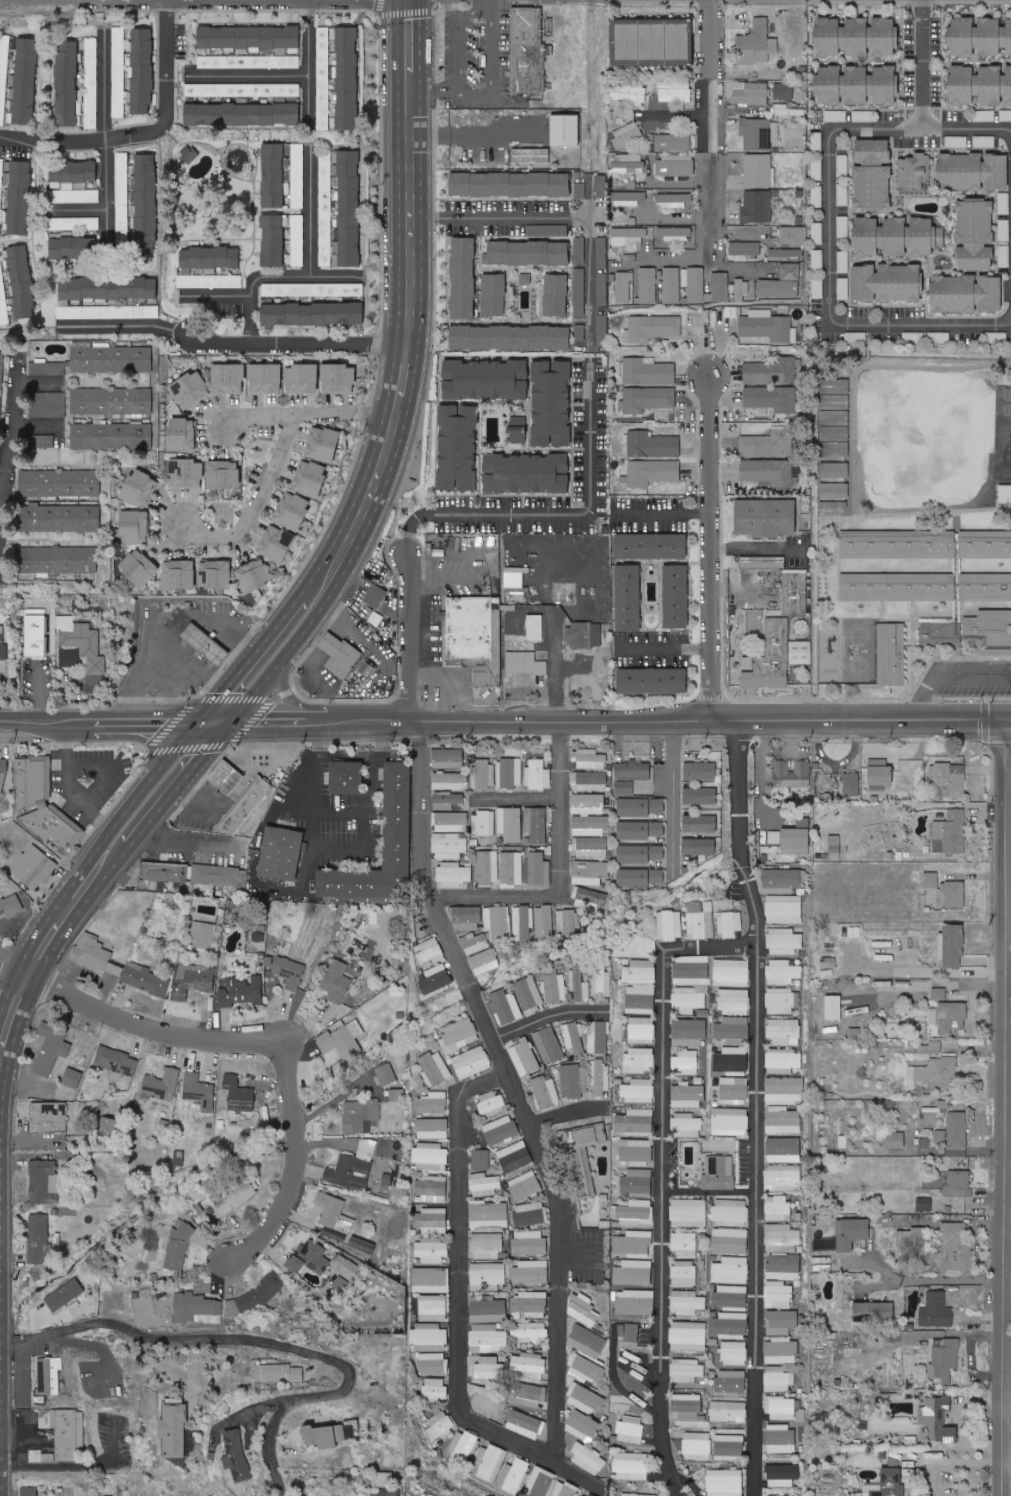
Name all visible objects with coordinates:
road: (81, 1)
road: (114, 2)
building: (856, 35)
building: (118, 36)
building: (249, 36)
building: (979, 36)
road: (460, 40)
building: (655, 40)
building: (680, 40)
building: (627, 42)
building: (757, 43)
road: (412, 48)
building: (526, 53)
road: (313, 57)
parking lot: (475, 60)
building: (248, 61)
road: (923, 63)
building: (142, 70)
road: (255, 75)
building: (3, 77)
building: (348, 77)
building: (323, 78)
building: (25, 80)
building: (66, 82)
building: (829, 83)
building: (871, 84)
building: (976, 84)
building: (1008, 84)
road: (491, 87)
building: (241, 89)
building: (784, 91)
building: (629, 92)
building: (676, 92)
building: (751, 92)
building: (243, 114)
building: (836, 115)
road: (711, 125)
road: (109, 126)
road: (967, 126)
building: (565, 129)
road: (144, 131)
building: (759, 133)
road: (478, 134)
building: (626, 136)
building: (816, 141)
building: (673, 142)
building: (530, 154)
building: (628, 163)
building: (675, 165)
building: (817, 169)
building: (759, 170)
building: (913, 170)
building: (962, 170)
building: (997, 171)
building: (7, 172)
building: (873, 174)
building: (273, 175)
building: (297, 175)
building: (1, 183)
building: (511, 184)
building: (581, 190)
road: (592, 195)
building: (75, 196)
building: (20, 197)
building: (628, 199)
building: (674, 200)
building: (1003, 203)
building: (757, 206)
building: (325, 208)
building: (349, 208)
building: (147, 209)
road: (315, 209)
road: (569, 215)
road: (674, 215)
building: (75, 223)
building: (547, 230)
building: (675, 233)
building: (975, 234)
building: (628, 236)
building: (793, 236)
building: (881, 236)
building: (925, 236)
building: (273, 239)
building: (297, 240)
building: (73, 247)
building: (745, 248)
building: (578, 250)
building: (528, 252)
building: (601, 252)
building: (786, 252)
building: (211, 257)
building: (630, 257)
road: (676, 258)
building: (817, 260)
road: (830, 269)
building: (789, 271)
road: (273, 272)
building: (464, 277)
building: (22, 281)
building: (209, 281)
building: (887, 282)
building: (694, 284)
building: (648, 285)
building: (671, 285)
building: (623, 286)
building: (108, 287)
building: (719, 287)
building: (602, 288)
building: (778, 288)
building: (313, 289)
building: (741, 290)
building: (579, 291)
building: (955, 293)
building: (990, 293)
building: (494, 294)
building: (556, 294)
building: (3, 299)
building: (314, 313)
building: (767, 326)
building: (652, 328)
building: (602, 330)
building: (579, 332)
building: (511, 337)
road: (232, 343)
building: (111, 359)
building: (49, 368)
building: (648, 371)
building: (772, 371)
building: (228, 378)
building: (266, 378)
building: (339, 378)
building: (302, 379)
building: (486, 379)
road: (40, 382)
building: (1, 384)
building: (190, 389)
building: (835, 394)
building: (771, 398)
building: (647, 399)
building: (112, 401)
building: (552, 402)
building: (48, 405)
road: (308, 414)
road: (390, 418)
building: (835, 425)
road: (38, 427)
building: (518, 429)
building: (183, 433)
building: (112, 436)
building: (43, 442)
building: (324, 443)
road: (8, 444)
building: (652, 444)
building: (768, 444)
building: (458, 447)
building: (835, 448)
building: (835, 469)
building: (653, 472)
building: (186, 473)
building: (527, 473)
building: (767, 473)
building: (224, 474)
building: (311, 478)
building: (59, 483)
building: (139, 488)
building: (835, 490)
building: (1005, 493)
road: (255, 500)
building: (833, 507)
building: (293, 510)
road: (561, 512)
road: (661, 512)
building: (766, 517)
building: (65, 518)
building: (135, 526)
building: (277, 543)
building: (652, 546)
road: (756, 547)
road: (711, 548)
road: (0, 556)
building: (57, 559)
building: (754, 562)
building: (957, 565)
building: (140, 567)
building: (180, 573)
building: (216, 573)
building: (255, 574)
building: (985, 587)
road: (742, 588)
building: (795, 591)
building: (376, 595)
building: (676, 596)
building: (629, 597)
road: (174, 620)
building: (470, 627)
building: (535, 628)
building: (990, 631)
building: (36, 632)
building: (940, 633)
road: (406, 635)
building: (584, 635)
building: (82, 642)
building: (206, 644)
building: (3, 645)
road: (663, 646)
building: (800, 652)
building: (891, 653)
building: (340, 654)
road: (177, 658)
building: (771, 658)
road: (192, 662)
building: (525, 663)
road: (552, 672)
building: (490, 674)
road: (948, 675)
building: (653, 681)
road: (226, 712)
road: (964, 720)
road: (670, 722)
road: (320, 723)
road: (108, 724)
building: (448, 758)
building: (589, 759)
road: (375, 764)
road: (110, 766)
building: (633, 770)
building: (700, 770)
building: (881, 772)
building: (510, 773)
building: (3, 774)
building: (484, 774)
building: (792, 774)
building: (538, 775)
building: (227, 777)
building: (347, 777)
building: (950, 778)
building: (450, 781)
building: (590, 781)
building: (851, 784)
building: (624, 788)
road: (73, 792)
road: (672, 793)
building: (700, 795)
road: (520, 799)
building: (447, 801)
building: (588, 804)
building: (43, 805)
building: (246, 806)
building: (640, 806)
building: (398, 816)
building: (451, 822)
building: (803, 822)
building: (483, 823)
building: (510, 823)
building: (700, 823)
building: (536, 824)
building: (590, 826)
building: (640, 830)
building: (950, 833)
building: (774, 837)
building: (796, 841)
road: (183, 845)
building: (450, 846)
building: (699, 846)
building: (592, 847)
building: (834, 847)
road: (327, 849)
building: (282, 853)
building: (639, 853)
building: (34, 867)
building: (487, 867)
building: (512, 869)
building: (539, 871)
building: (167, 872)
building: (589, 872)
road: (564, 873)
building: (215, 875)
building: (454, 875)
building: (640, 877)
building: (781, 880)
building: (931, 880)
road: (90, 887)
building: (209, 890)
building: (953, 894)
building: (588, 899)
building: (10, 906)
building: (784, 909)
building: (466, 918)
building: (700, 919)
building: (543, 921)
building: (567, 922)
building: (497, 923)
building: (522, 923)
building: (729, 923)
building: (669, 925)
building: (205, 935)
building: (258, 936)
building: (784, 941)
building: (474, 943)
building: (952, 946)
building: (431, 951)
building: (96, 953)
building: (829, 960)
building: (484, 961)
road: (16, 967)
building: (288, 971)
building: (640, 971)
building: (731, 972)
building: (782, 972)
building: (145, 979)
building: (435, 979)
building: (193, 980)
building: (337, 981)
building: (690, 981)
building: (579, 984)
building: (553, 986)
building: (601, 986)
building: (241, 991)
building: (529, 994)
building: (939, 994)
building: (640, 1000)
building: (733, 1001)
building: (782, 1001)
building: (506, 1006)
building: (834, 1007)
road: (545, 1016)
building: (952, 1017)
road: (154, 1027)
building: (641, 1030)
building: (733, 1030)
building: (783, 1031)
building: (689, 1032)
building: (856, 1033)
building: (460, 1034)
building: (597, 1037)
building: (573, 1038)
building: (343, 1040)
building: (548, 1045)
building: (51, 1049)
building: (639, 1060)
building: (783, 1061)
building: (471, 1062)
building: (685, 1062)
building: (117, 1063)
building: (436, 1068)
building: (938, 1073)
building: (386, 1074)
building: (72, 1077)
building: (600, 1078)
building: (574, 1081)
building: (162, 1085)
building: (638, 1090)
building: (734, 1090)
building: (784, 1090)
building: (199, 1091)
building: (546, 1092)
building: (238, 1094)
building: (397, 1095)
building: (687, 1095)
building: (433, 1103)
building: (491, 1103)
road: (760, 1107)
road: (565, 1112)
building: (360, 1116)
building: (49, 1117)
building: (931, 1118)
building: (109, 1119)
building: (782, 1120)
building: (729, 1121)
building: (635, 1122)
building: (686, 1125)
building: (433, 1128)
building: (500, 1130)
building: (957, 1131)
building: (896, 1140)
building: (842, 1142)
building: (637, 1151)
building: (782, 1151)
building: (582, 1152)
building: (179, 1157)
building: (430, 1157)
building: (514, 1157)
building: (480, 1159)
road: (293, 1166)
building: (353, 1167)
building: (719, 1173)
building: (783, 1178)
road: (666, 1180)
building: (637, 1181)
building: (44, 1182)
building: (960, 1183)
building: (484, 1185)
building: (524, 1186)
building: (431, 1189)
building: (236, 1198)
building: (925, 1205)
building: (777, 1209)
building: (729, 1211)
building: (635, 1212)
building: (334, 1213)
building: (688, 1213)
building: (489, 1214)
building: (530, 1214)
building: (431, 1221)
building: (852, 1233)
building: (38, 1238)
building: (781, 1238)
building: (912, 1238)
building: (730, 1241)
building: (529, 1242)
building: (362, 1244)
building: (633, 1244)
building: (683, 1244)
building: (486, 1245)
building: (957, 1245)
building: (179, 1248)
building: (432, 1252)
road: (574, 1255)
building: (310, 1258)
road: (1010, 1266)
building: (346, 1267)
building: (783, 1267)
building: (730, 1270)
building: (530, 1272)
building: (633, 1272)
building: (683, 1273)
building: (487, 1276)
road: (950, 1277)
building: (431, 1280)
building: (340, 1283)
building: (262, 1291)
building: (778, 1294)
building: (65, 1295)
building: (686, 1303)
building: (529, 1304)
building: (197, 1308)
building: (433, 1308)
building: (487, 1309)
road: (557, 1309)
building: (583, 1310)
building: (936, 1311)
building: (874, 1312)
building: (781, 1322)
building: (730, 1324)
building: (529, 1332)
building: (621, 1332)
building: (632, 1333)
building: (688, 1336)
building: (428, 1337)
building: (487, 1338)
road: (263, 1340)
building: (587, 1341)
building: (781, 1351)
building: (733, 1353)
building: (945, 1359)
building: (433, 1363)
building: (527, 1365)
building: (489, 1368)
building: (585, 1370)
building: (686, 1371)
building: (278, 1373)
building: (49, 1376)
building: (778, 1379)
building: (731, 1382)
building: (434, 1389)
building: (893, 1397)
building: (586, 1399)
building: (483, 1402)
building: (688, 1407)
building: (784, 1409)
building: (728, 1411)
building: (937, 1420)
building: (525, 1424)
building: (440, 1425)
building: (581, 1426)
building: (630, 1430)
building: (174, 1431)
road: (1006, 1431)
building: (65, 1432)
building: (326, 1436)
building: (781, 1439)
building: (697, 1444)
building: (729, 1445)
building: (460, 1449)
building: (236, 1455)
building: (40, 1457)
building: (588, 1459)
road: (1010, 1461)
building: (489, 1463)
road: (953, 1463)
road: (563, 1466)
building: (631, 1466)
road: (72, 1467)
building: (782, 1475)
building: (513, 1476)
building: (386, 1480)
building: (538, 1482)
building: (724, 1482)
building: (887, 1484)
building: (564, 1489)
building: (29, 1491)
building: (343, 1494)
building: (584, 1495)
building: (637, 1495)

